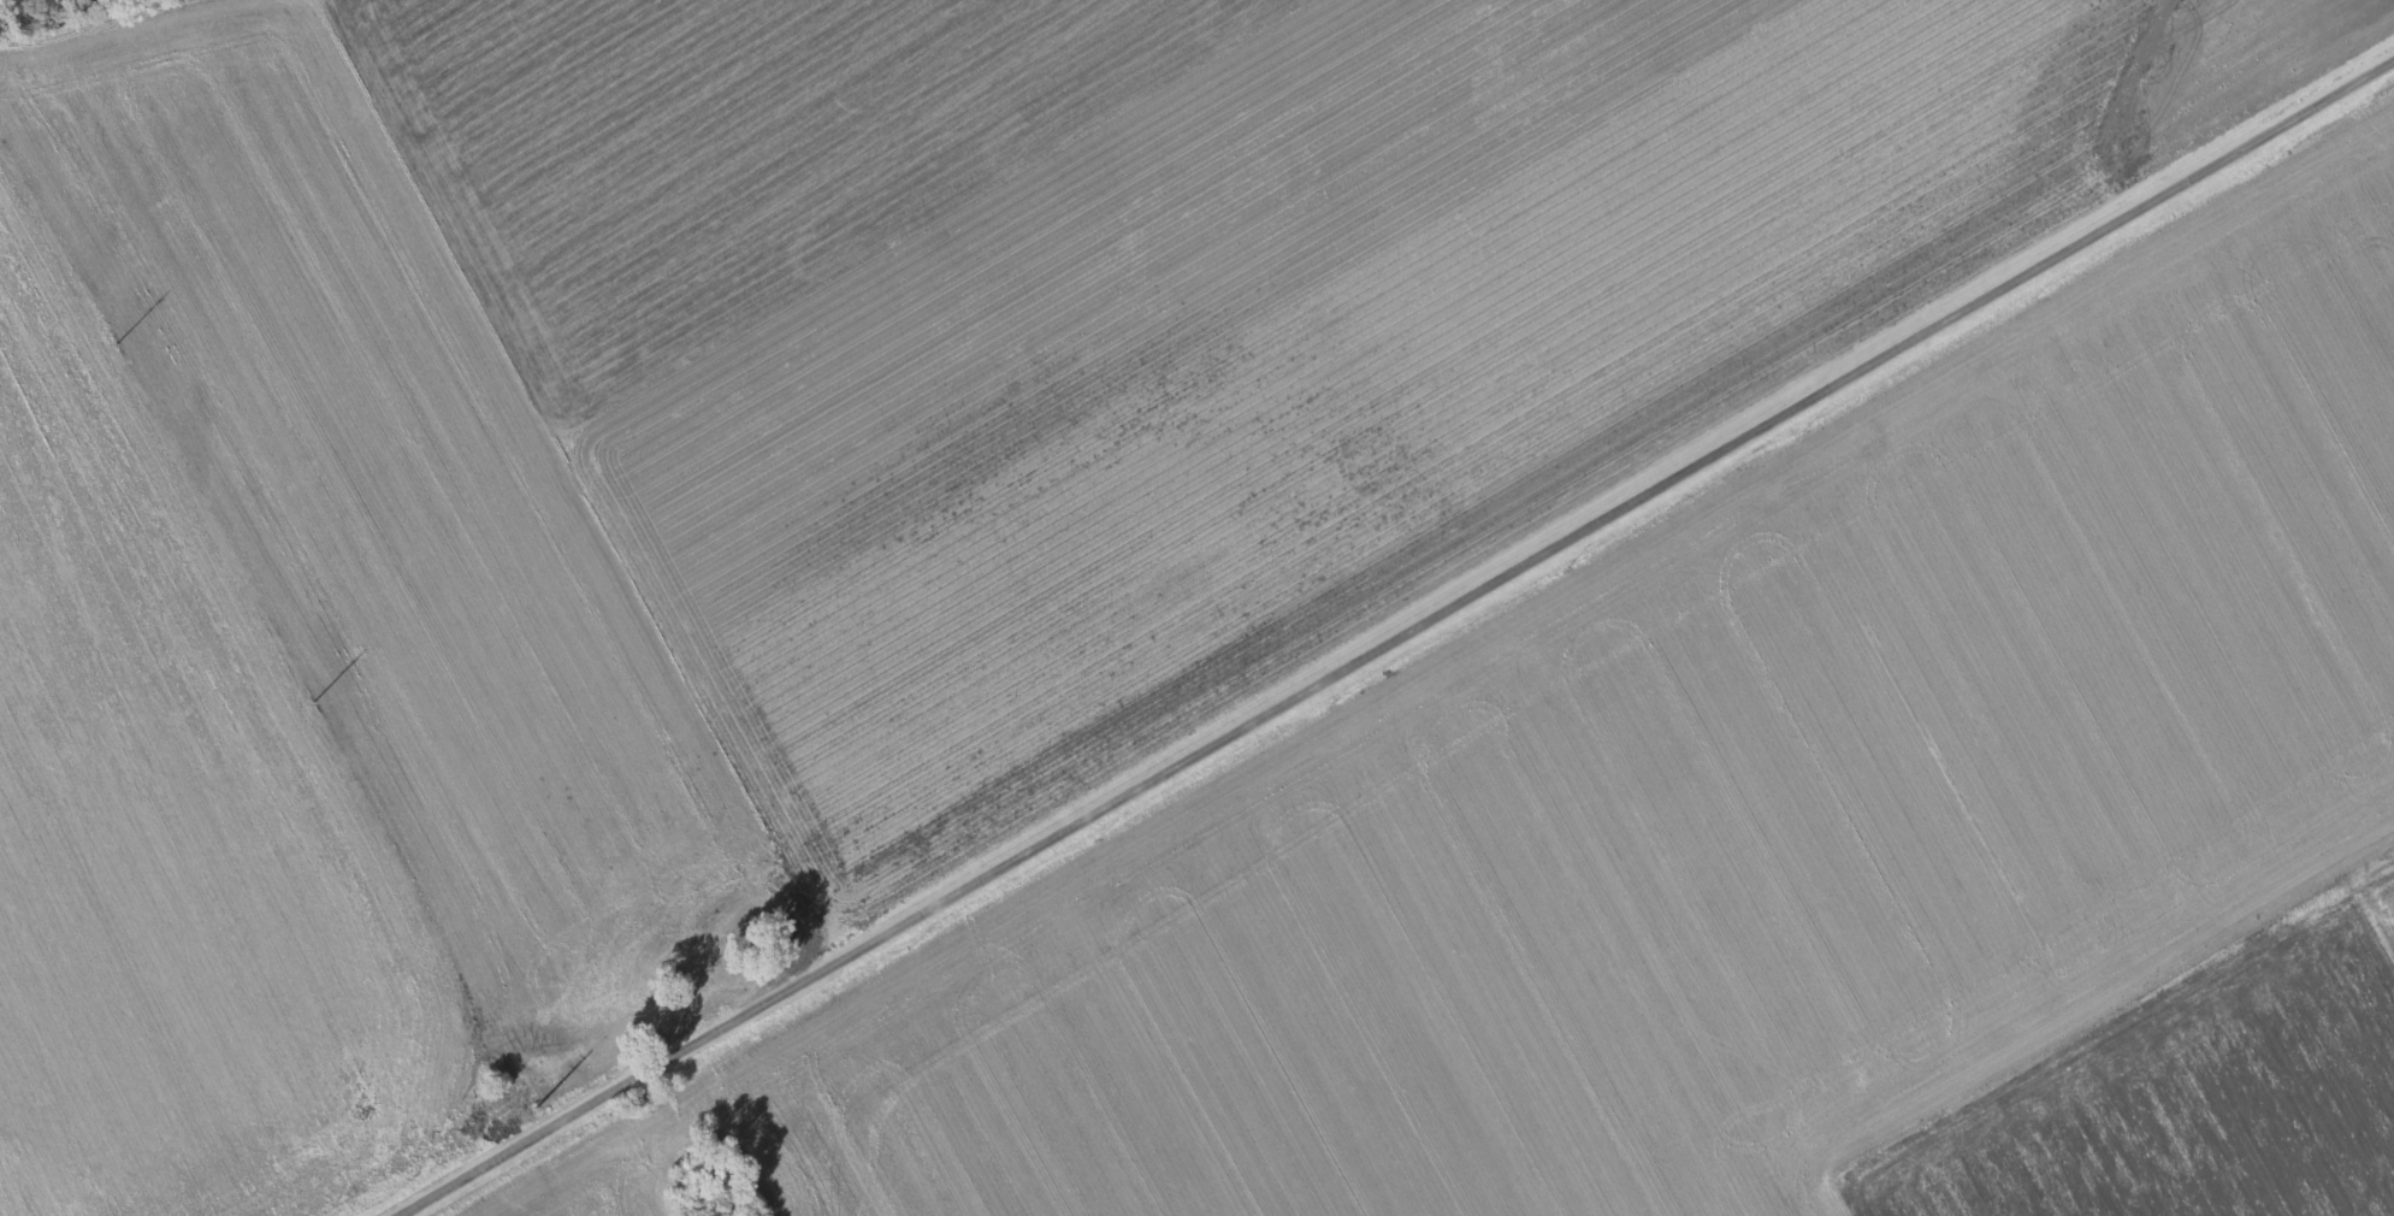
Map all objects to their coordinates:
road: (1395, 638)
road: (685, 1137)

